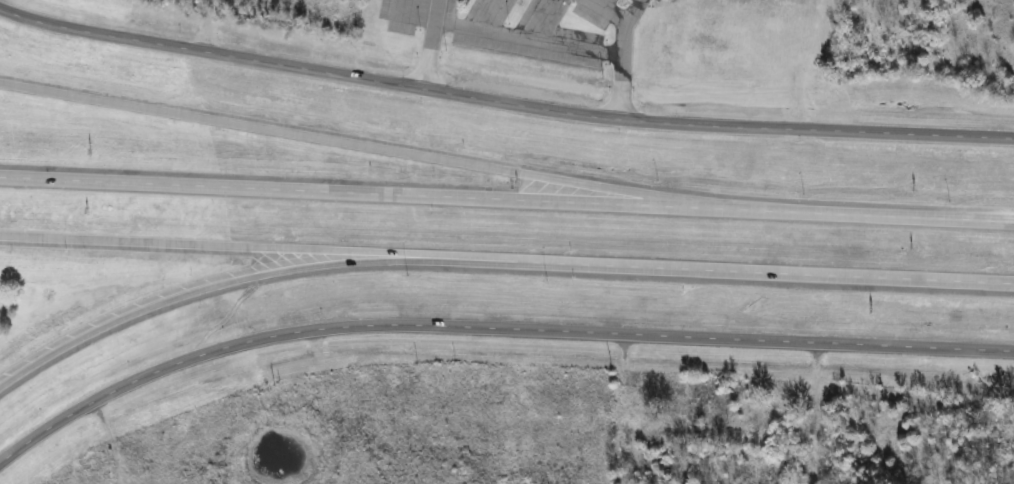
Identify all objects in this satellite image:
road: (434, 8)
road: (27, 16)
road: (621, 22)
road: (527, 30)
road: (531, 106)
road: (357, 146)
road: (357, 193)
road: (864, 215)
road: (260, 247)
road: (767, 272)
road: (248, 279)
road: (491, 328)
building: (696, 416)

